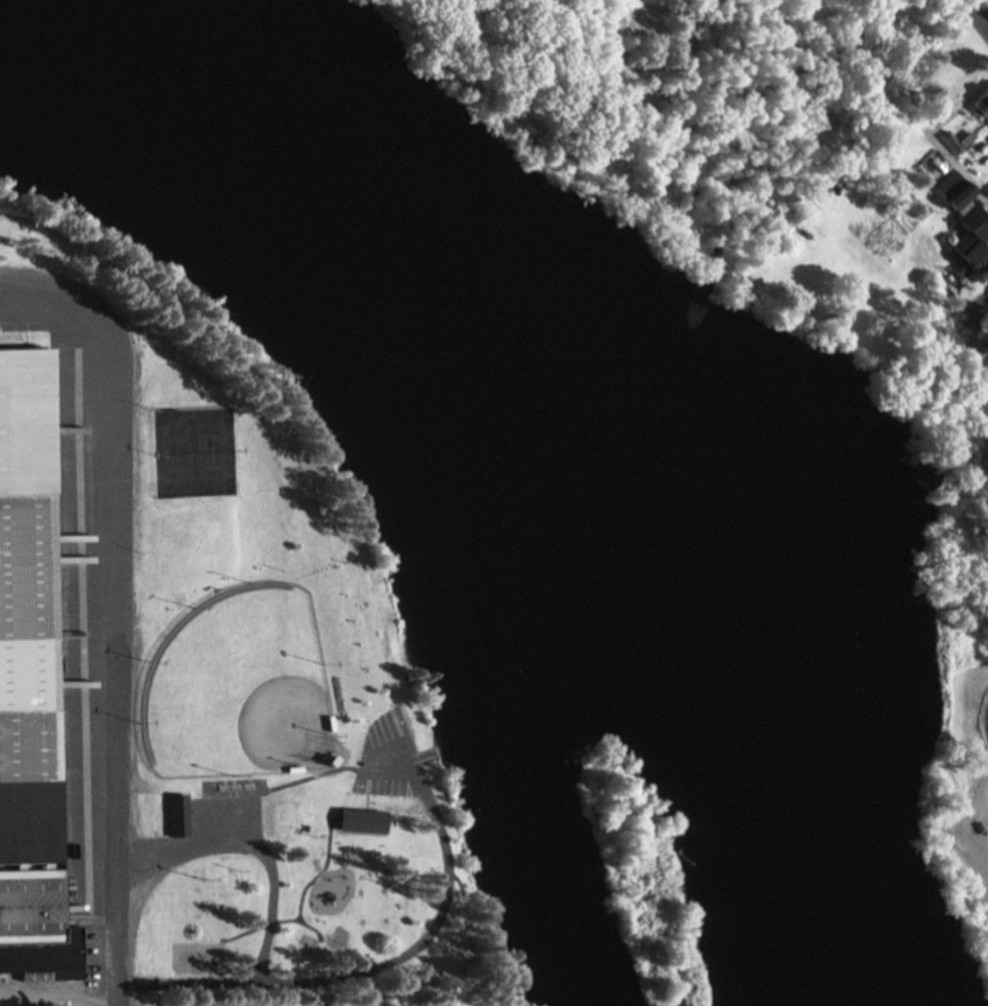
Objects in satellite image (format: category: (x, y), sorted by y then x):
road: (979, 5)
road: (981, 17)
building: (960, 142)
road: (959, 165)
building: (977, 231)
road: (973, 304)
road: (63, 324)
road: (975, 336)
road: (213, 339)
river: (539, 394)
building: (33, 614)
road: (119, 684)
park: (279, 687)
building: (365, 821)
building: (35, 922)
road: (61, 1004)

